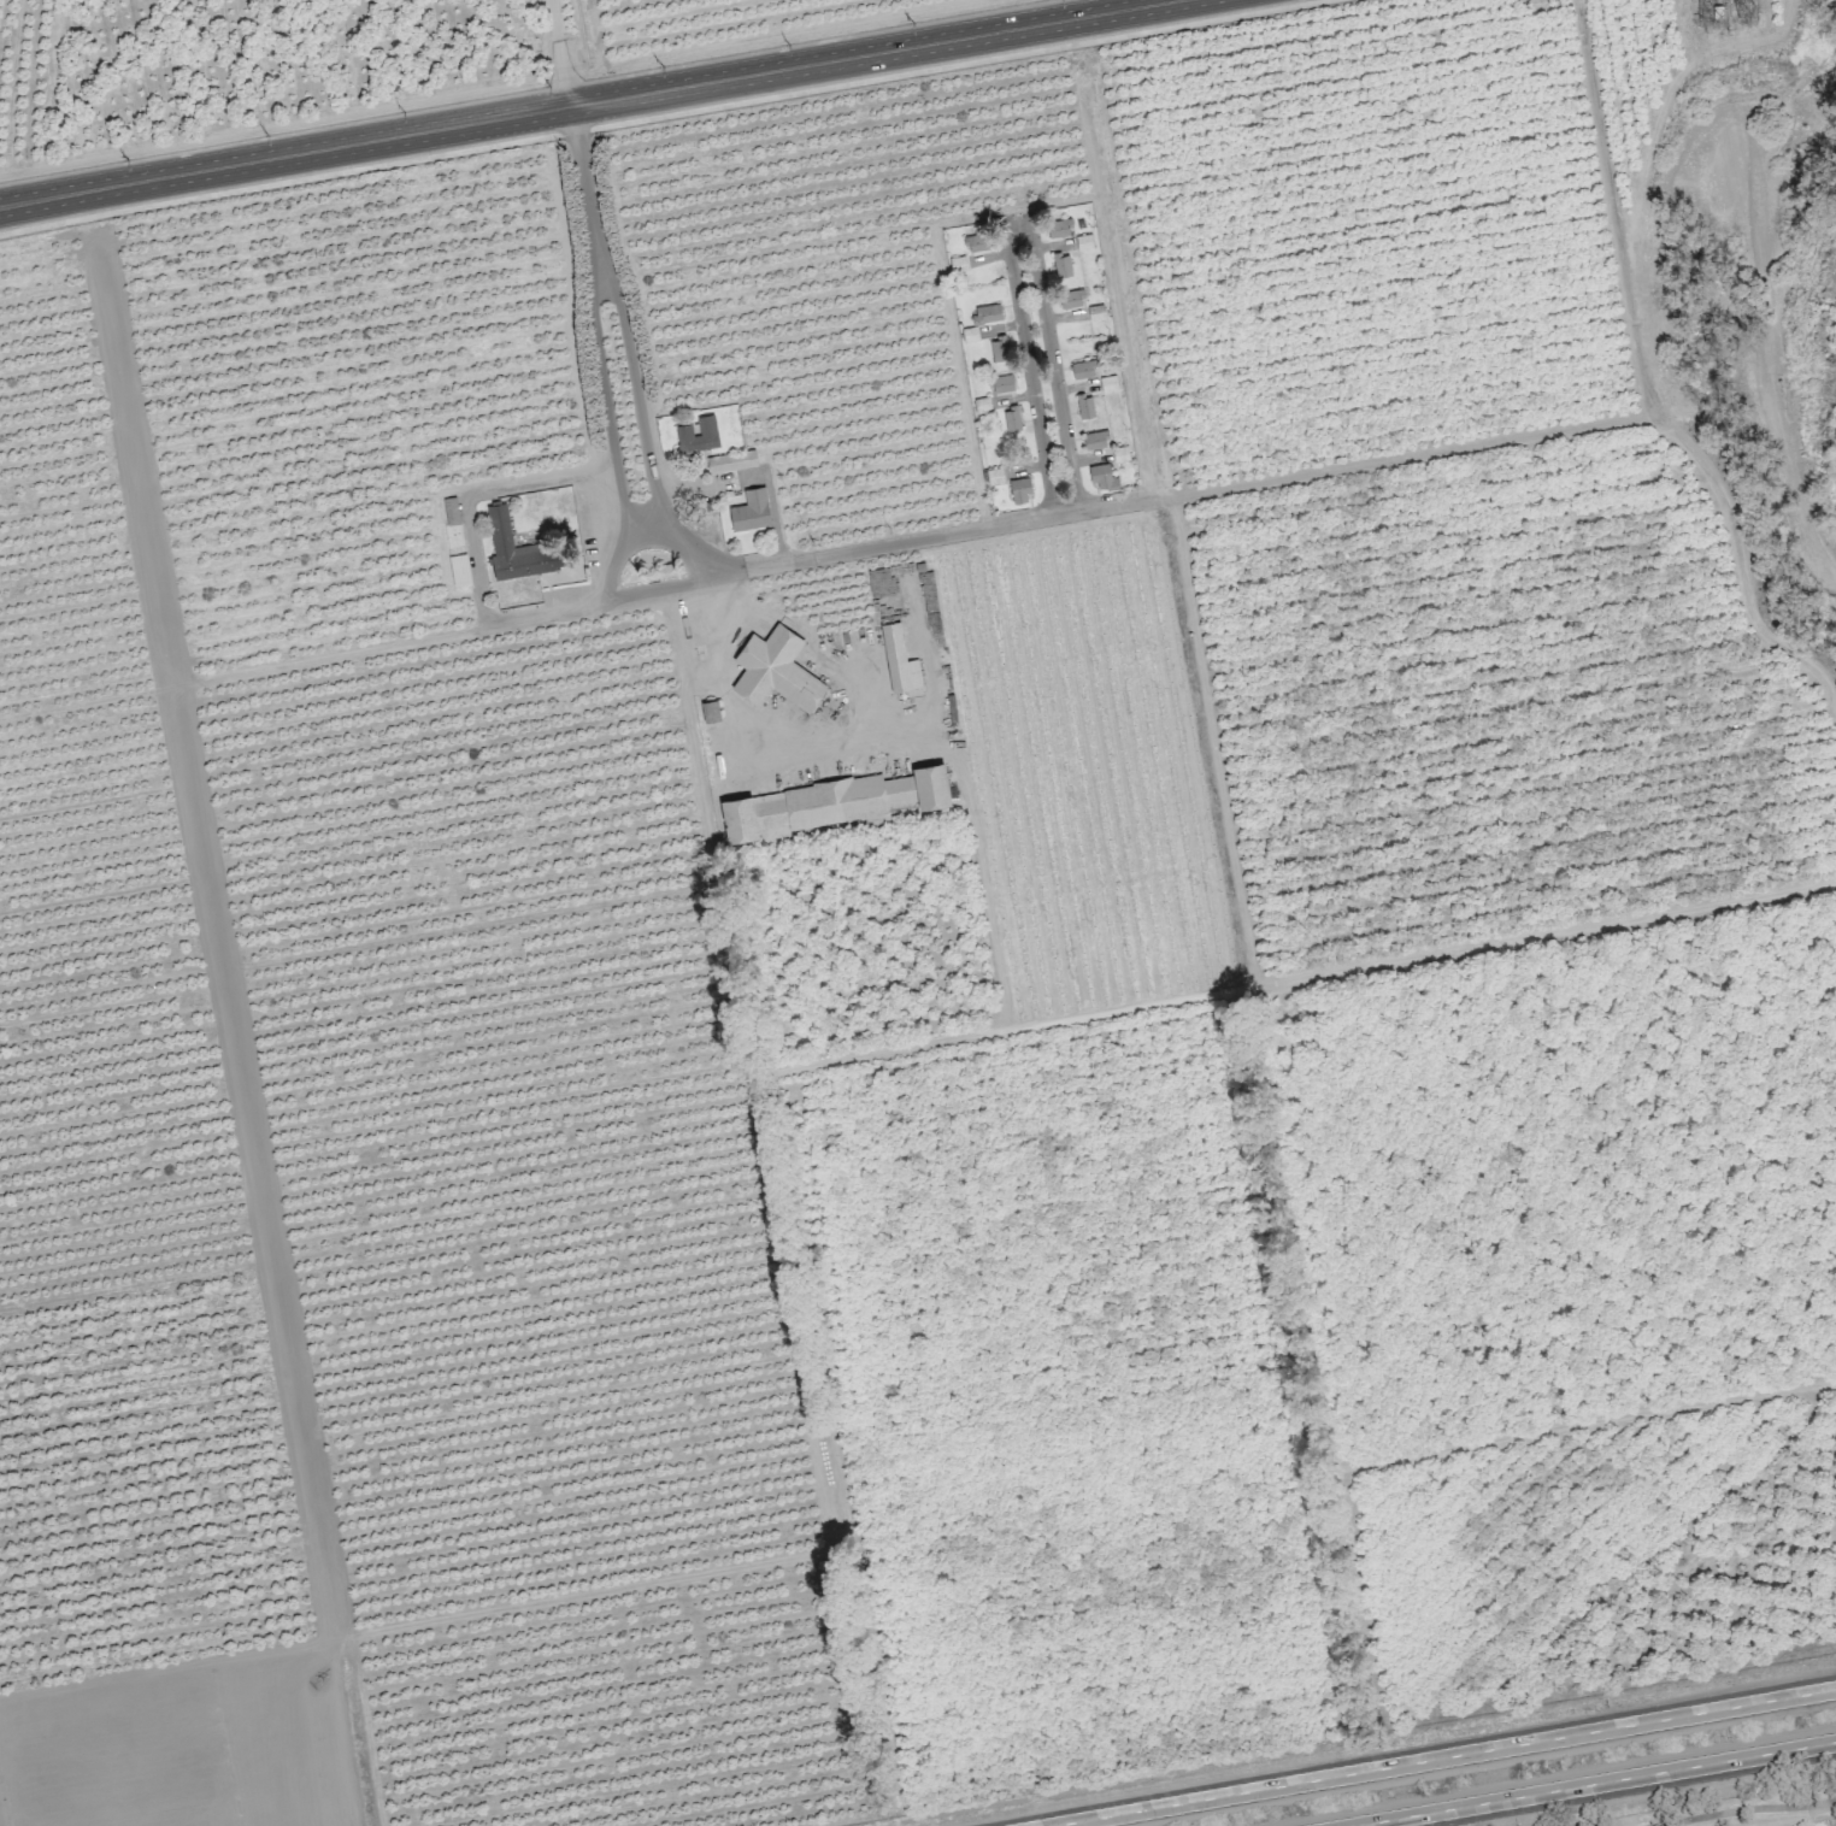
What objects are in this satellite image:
power tower: (1748, 11)
power tower: (1717, 12)
road: (559, 52)
road: (954, 66)
road: (588, 101)
road: (288, 183)
road: (587, 195)
road: (1613, 207)
building: (1059, 228)
building: (977, 238)
building: (1061, 264)
building: (1071, 298)
building: (1095, 312)
building: (987, 313)
building: (999, 348)
road: (1049, 358)
building: (1083, 369)
road: (1030, 373)
road: (602, 376)
building: (1001, 383)
building: (1107, 383)
road: (637, 399)
building: (1084, 405)
building: (1011, 418)
building: (698, 434)
building: (1096, 440)
road: (1396, 456)
building: (731, 460)
building: (1102, 477)
building: (1019, 490)
road: (479, 493)
road: (622, 495)
building: (751, 509)
road: (678, 542)
road: (873, 548)
building: (518, 549)
road: (616, 558)
road: (1741, 569)
road: (546, 611)
building: (899, 659)
building: (775, 668)
road: (758, 726)
building: (831, 801)
road: (1442, 1756)
road: (1595, 1784)
road: (1743, 1808)
park: (1743, 1809)

